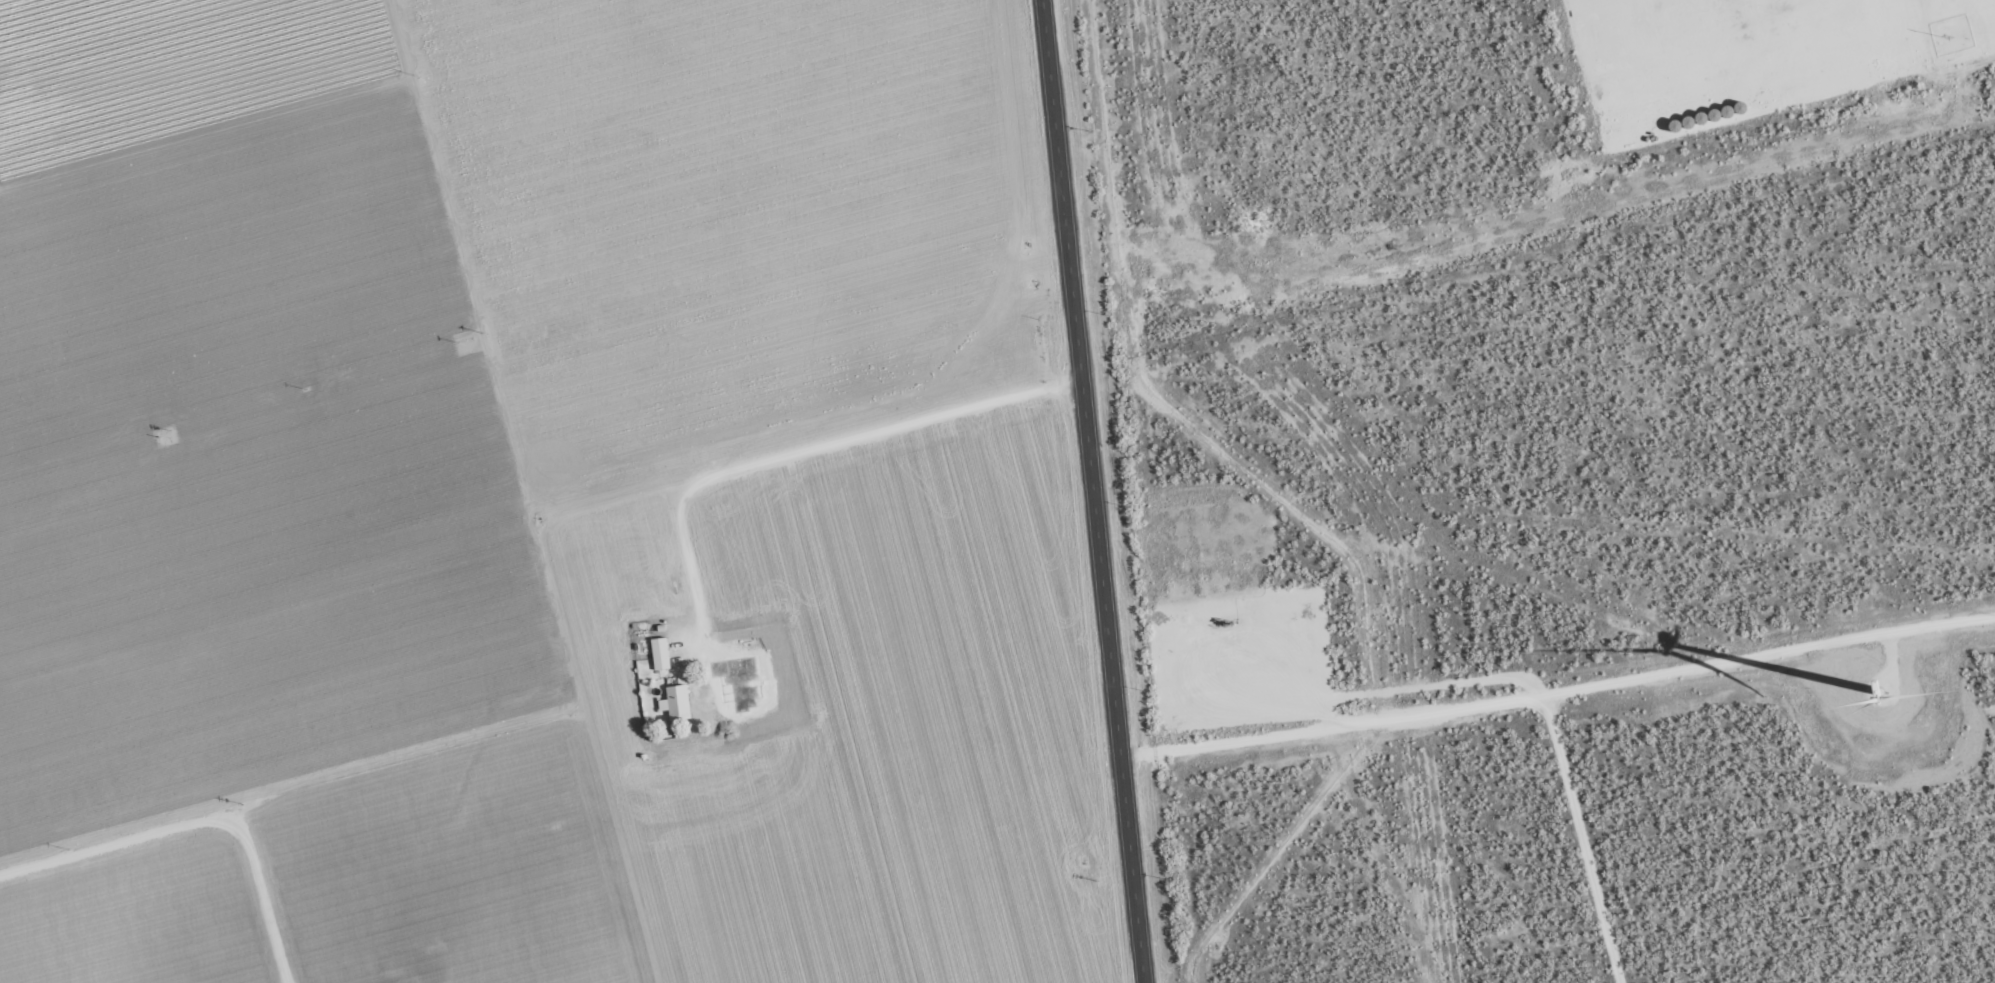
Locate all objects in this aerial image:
road: (1095, 491)
building: (666, 655)
wind turbine: (1879, 693)
building: (676, 702)
road: (1400, 906)

